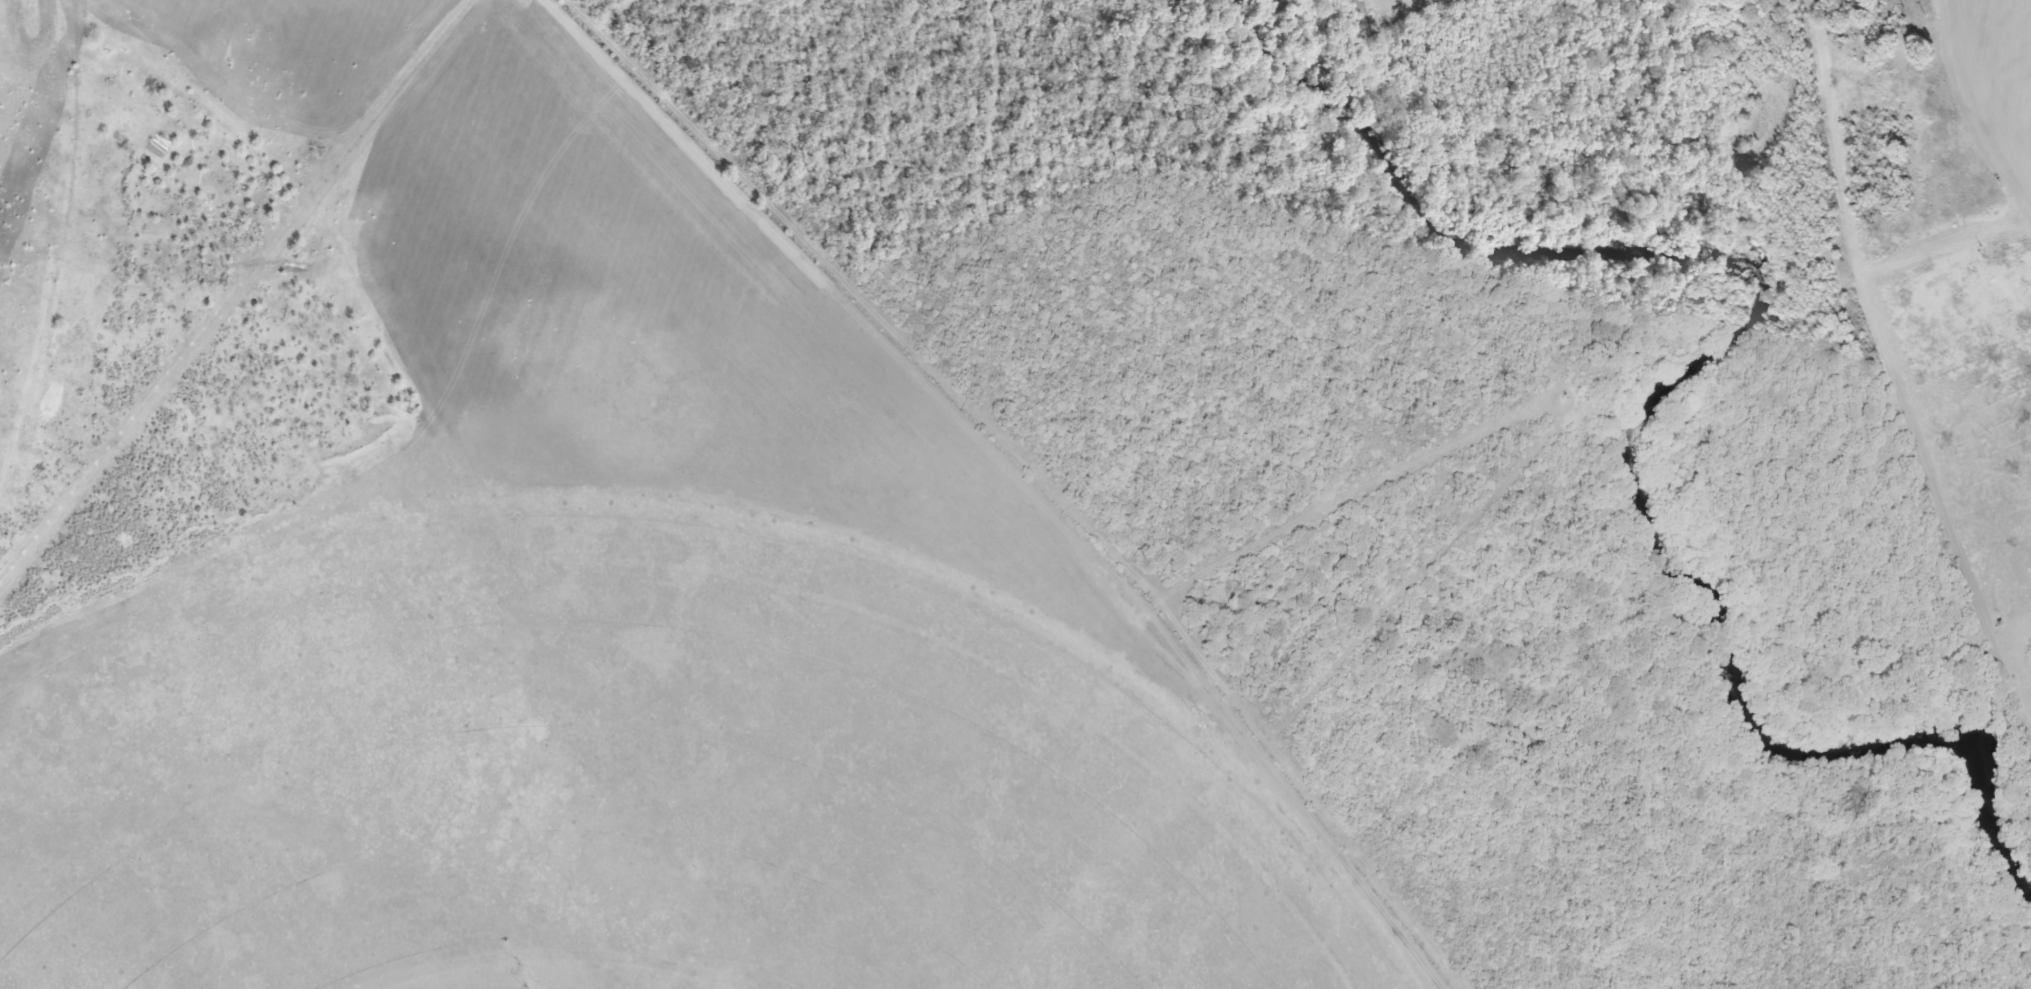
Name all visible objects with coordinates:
road: (789, 161)
river: (1662, 360)

